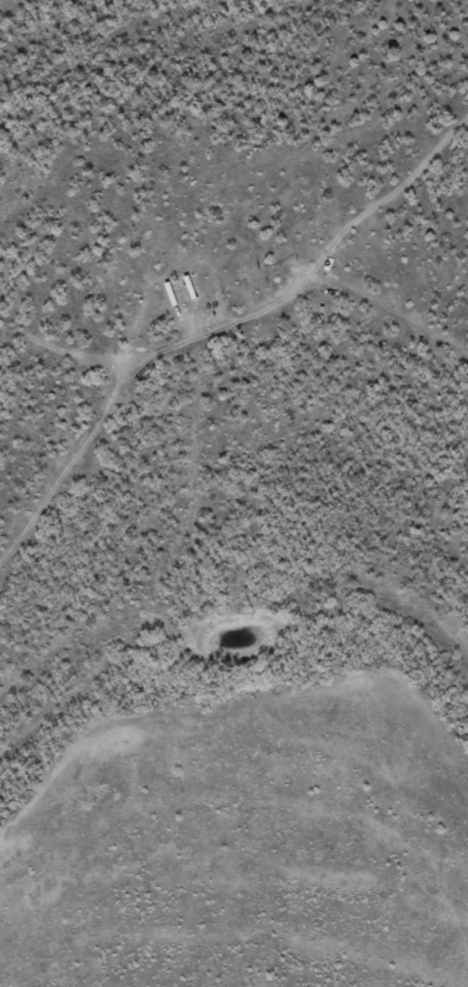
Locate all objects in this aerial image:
road: (410, 170)

